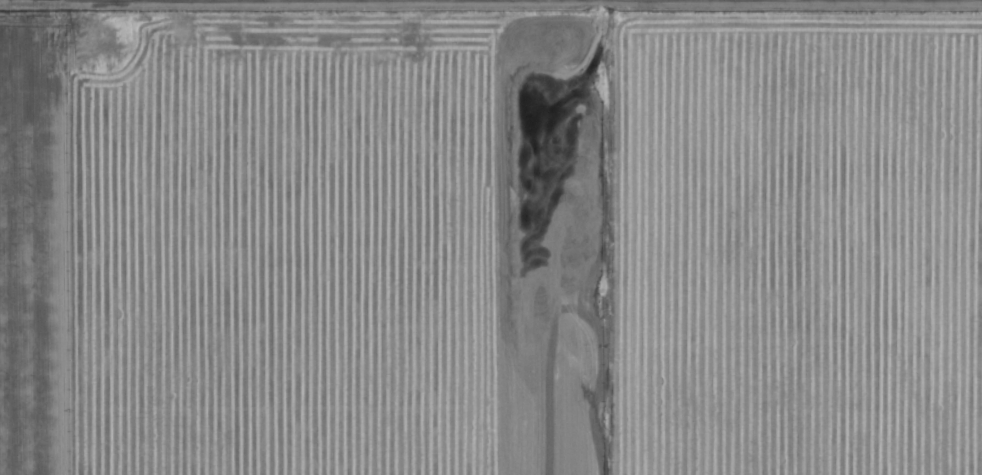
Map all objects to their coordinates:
crop: (491, 237)

